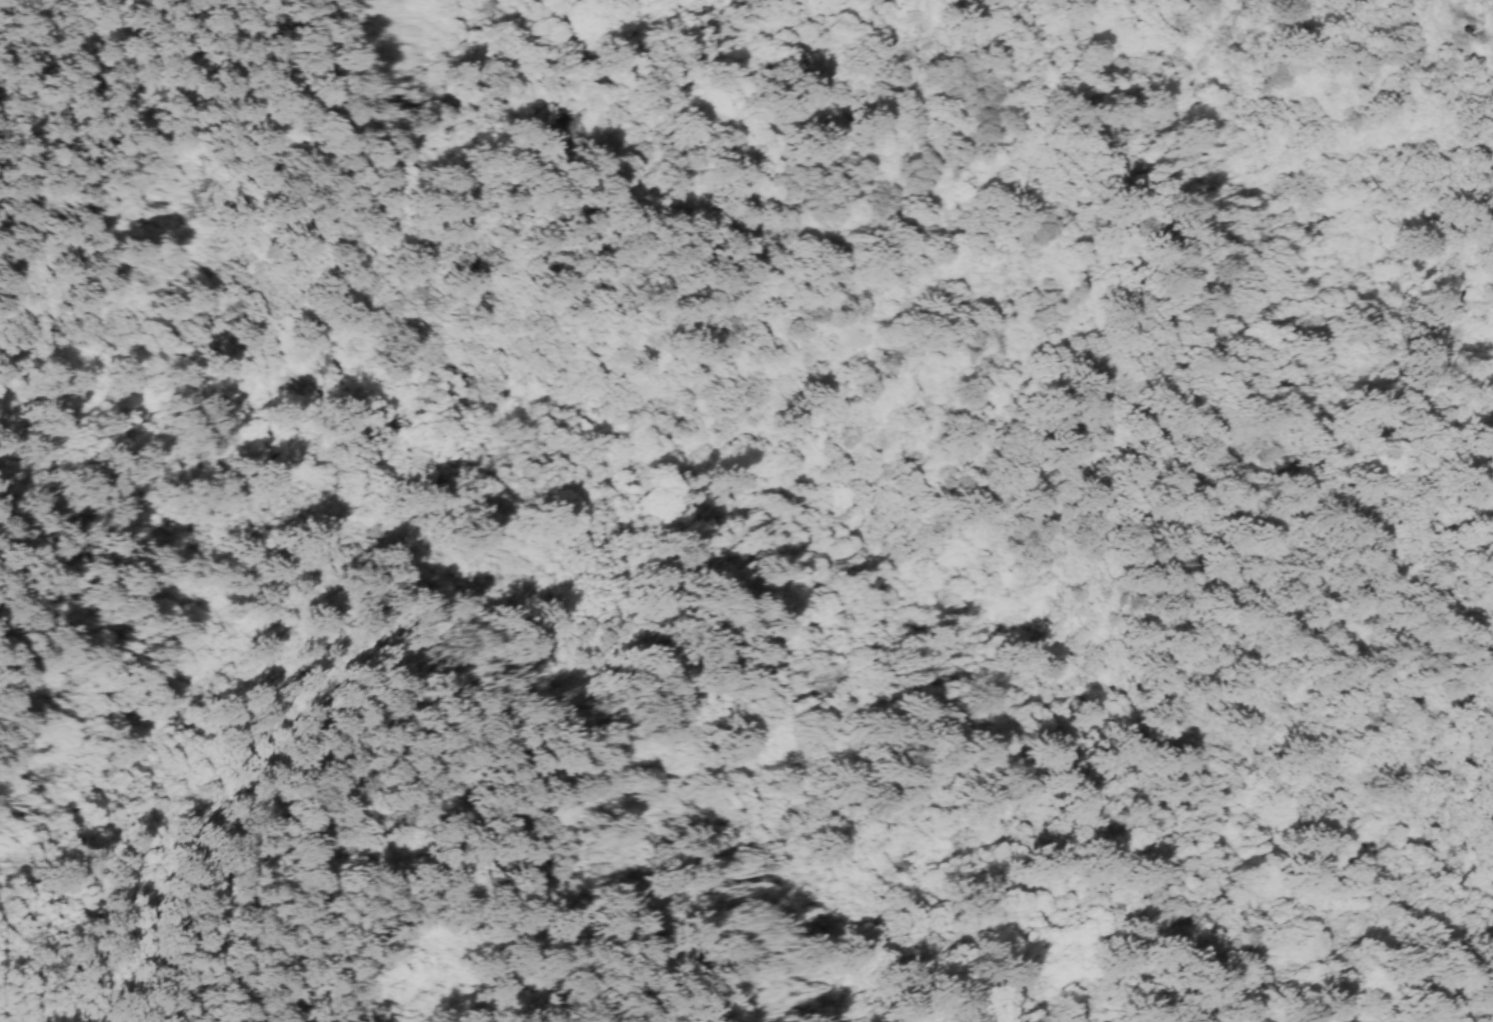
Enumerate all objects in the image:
road: (1455, 40)

